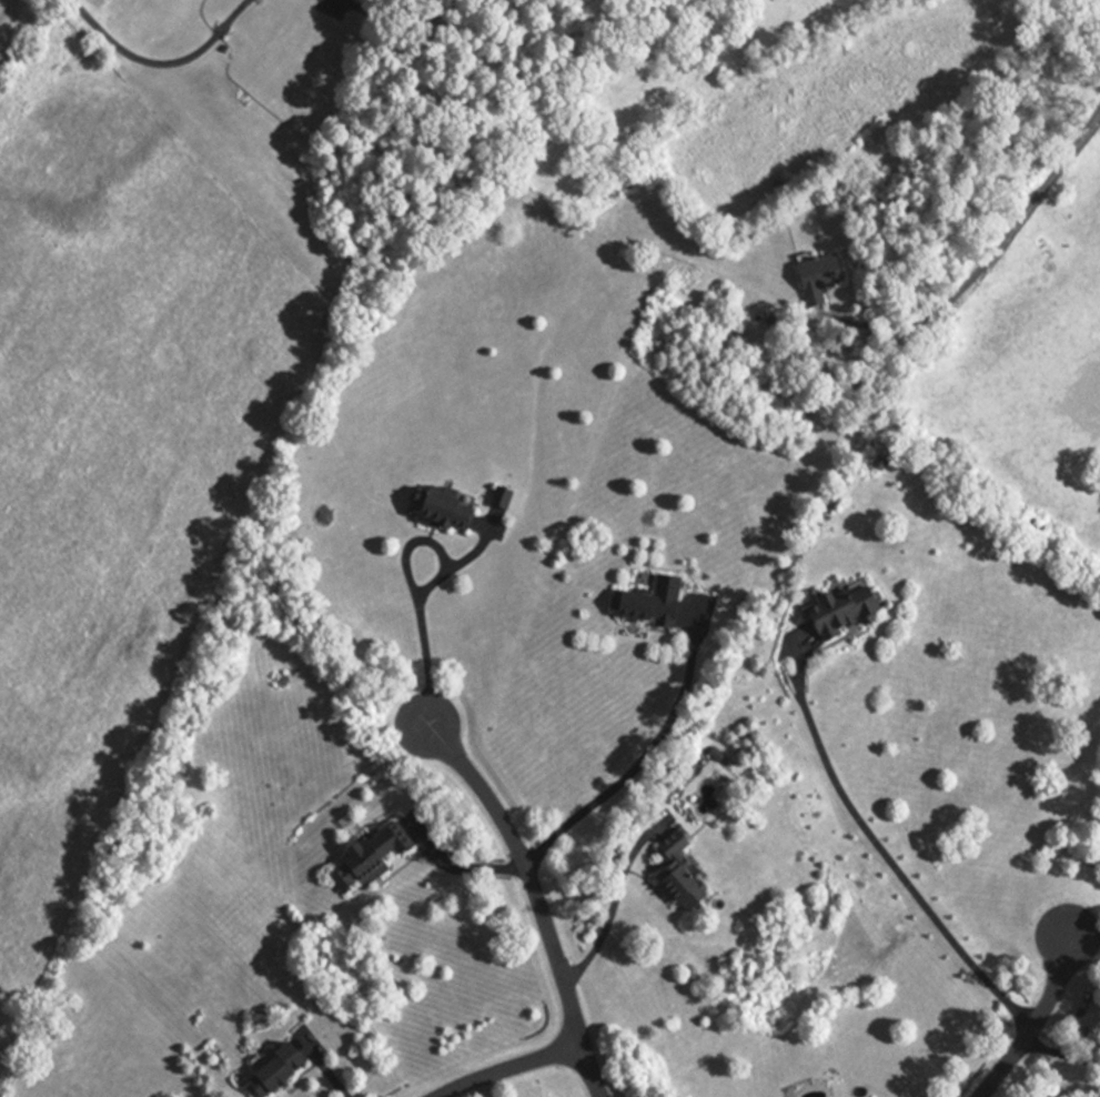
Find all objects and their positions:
road: (160, 66)
building: (814, 281)
road: (965, 282)
building: (497, 497)
building: (437, 511)
building: (646, 603)
building: (838, 608)
road: (423, 643)
road: (642, 757)
road: (882, 853)
building: (366, 859)
road: (457, 866)
building: (676, 874)
road: (538, 898)
road: (607, 914)
road: (1084, 934)
road: (1038, 1023)
road: (1062, 1054)
road: (509, 1067)
building: (270, 1071)
road: (484, 1087)

